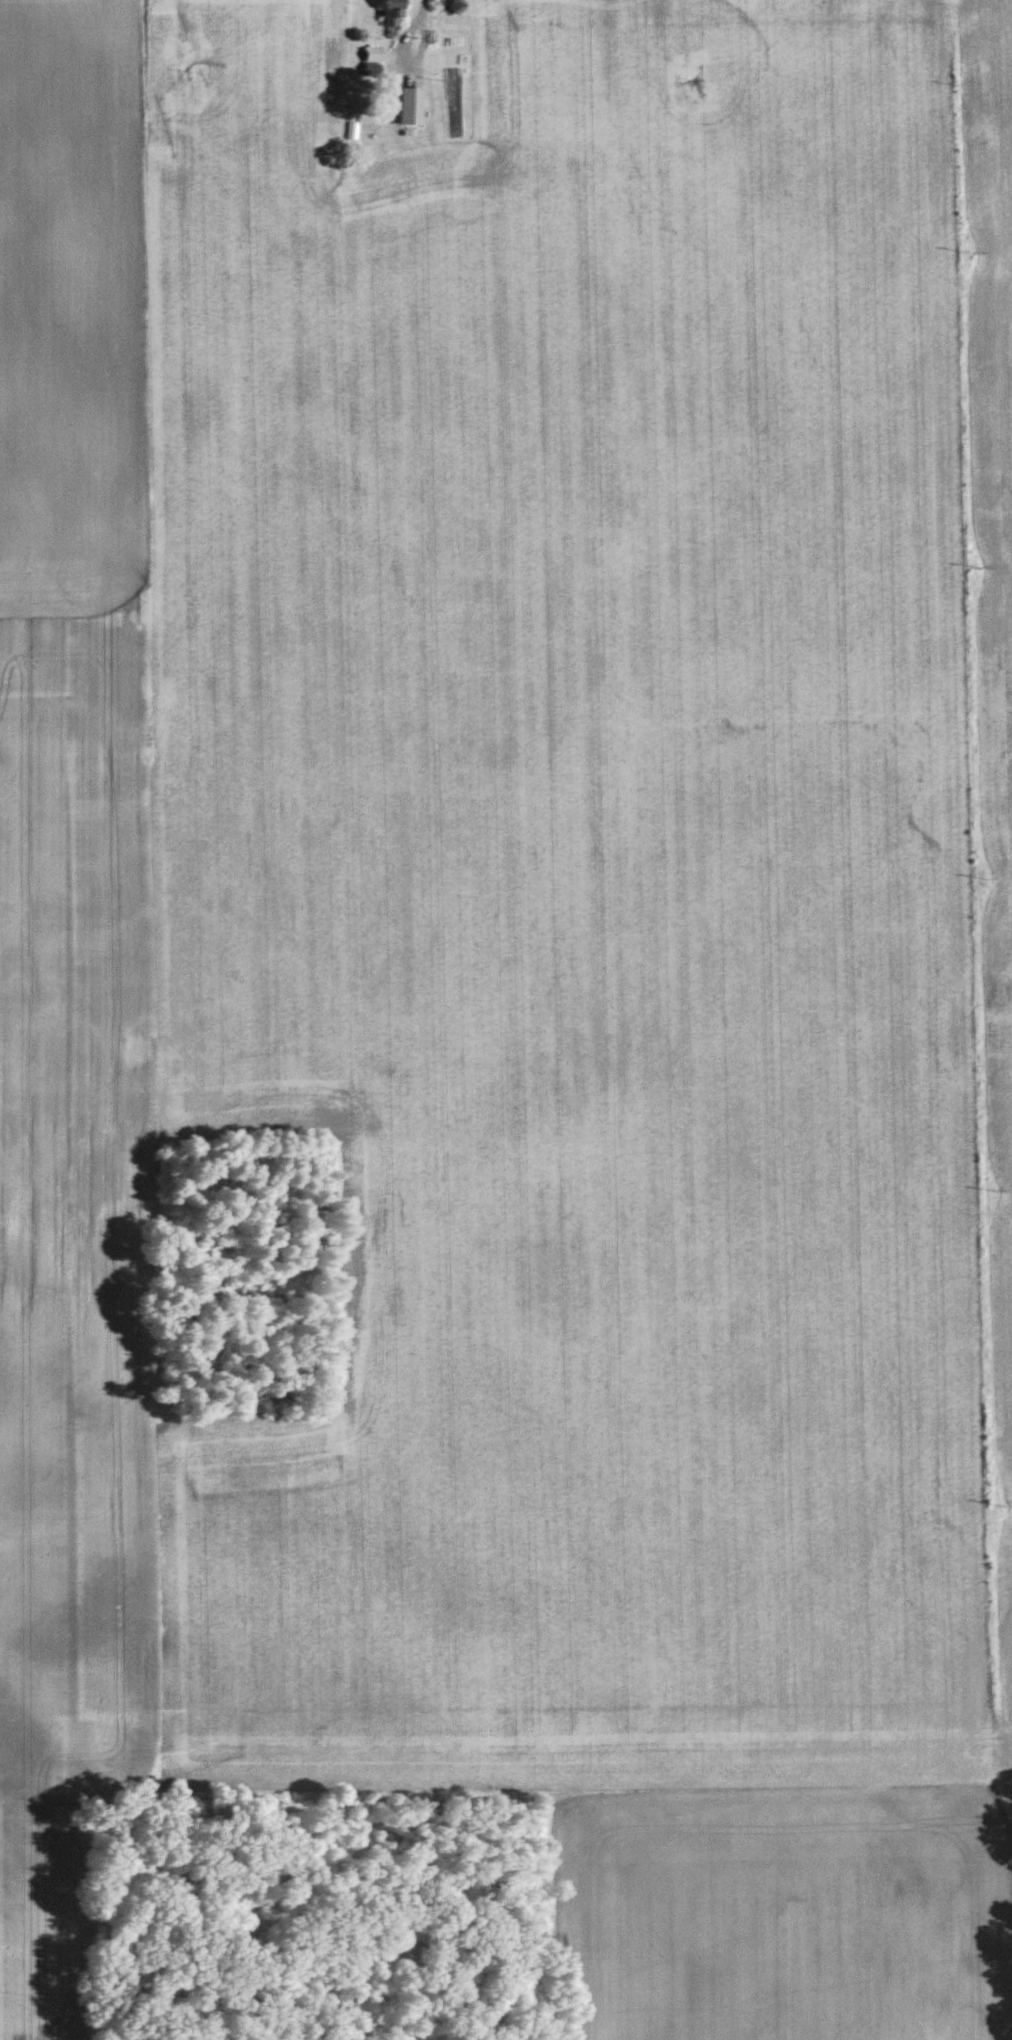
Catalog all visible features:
building: (394, 13)
building: (373, 63)
building: (412, 107)

